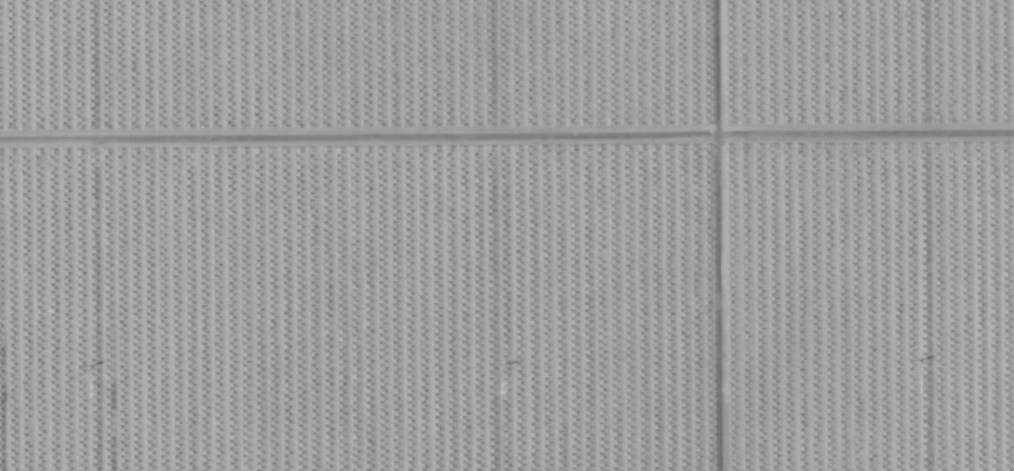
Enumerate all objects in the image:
road: (717, 235)

